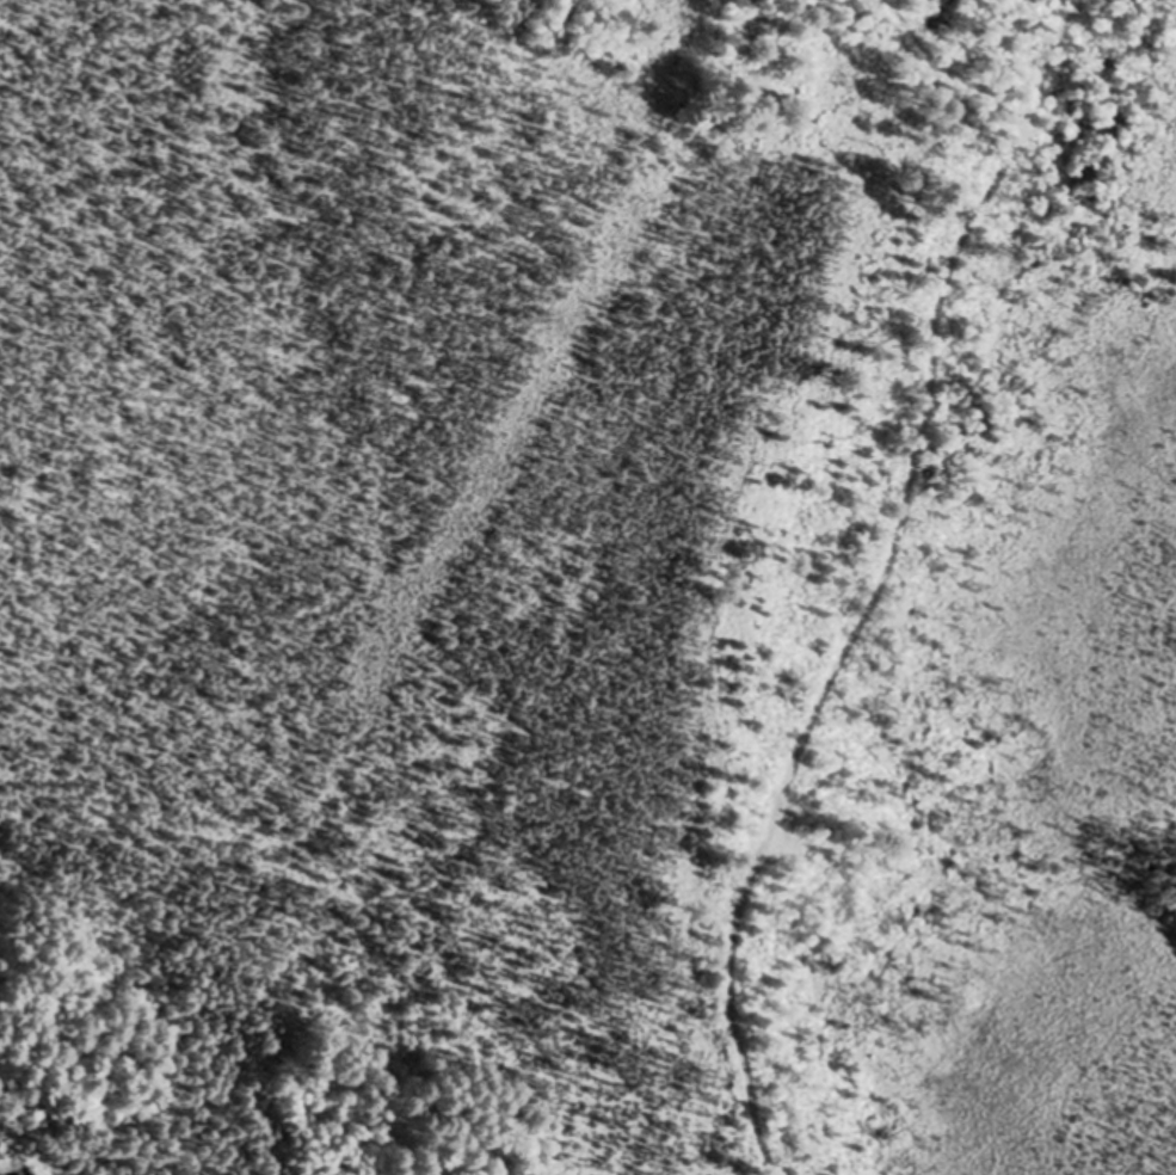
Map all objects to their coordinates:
road: (839, 561)

